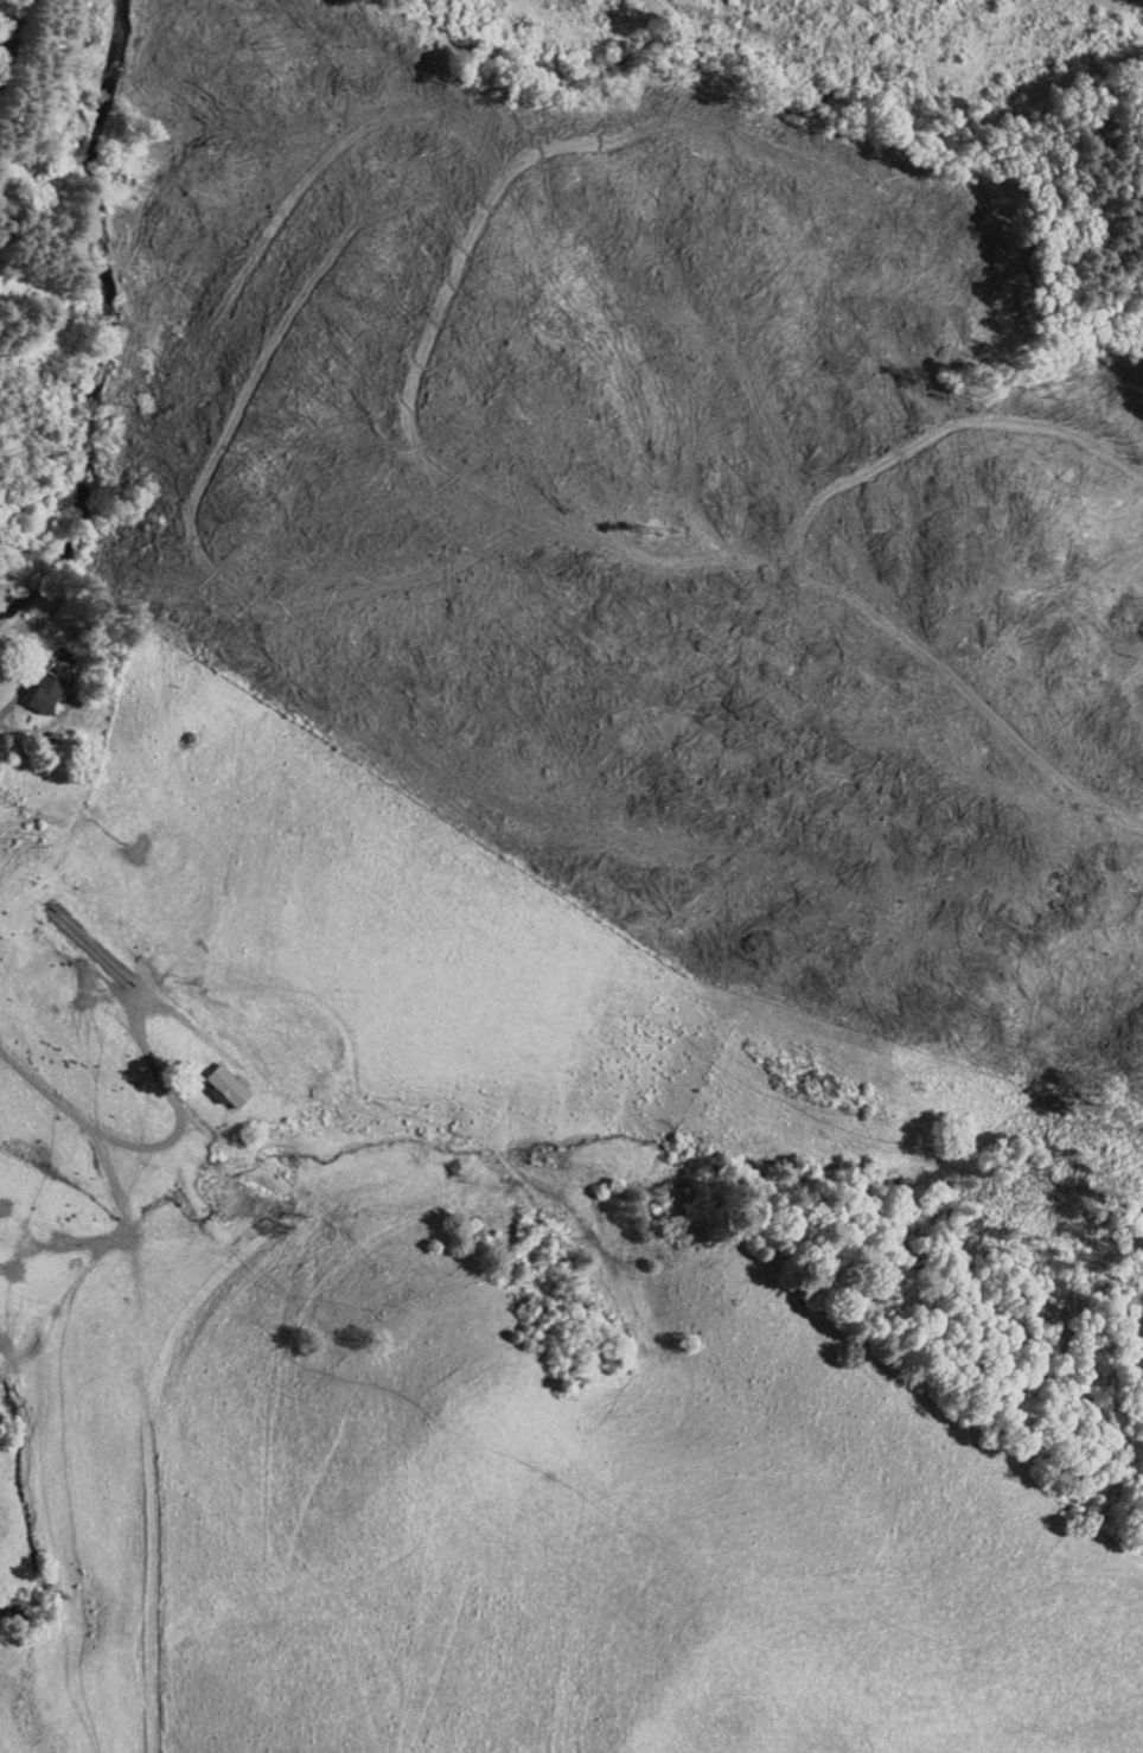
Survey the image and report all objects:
road: (1138, 1)
road: (13, 38)
road: (159, 1147)
road: (162, 1360)

